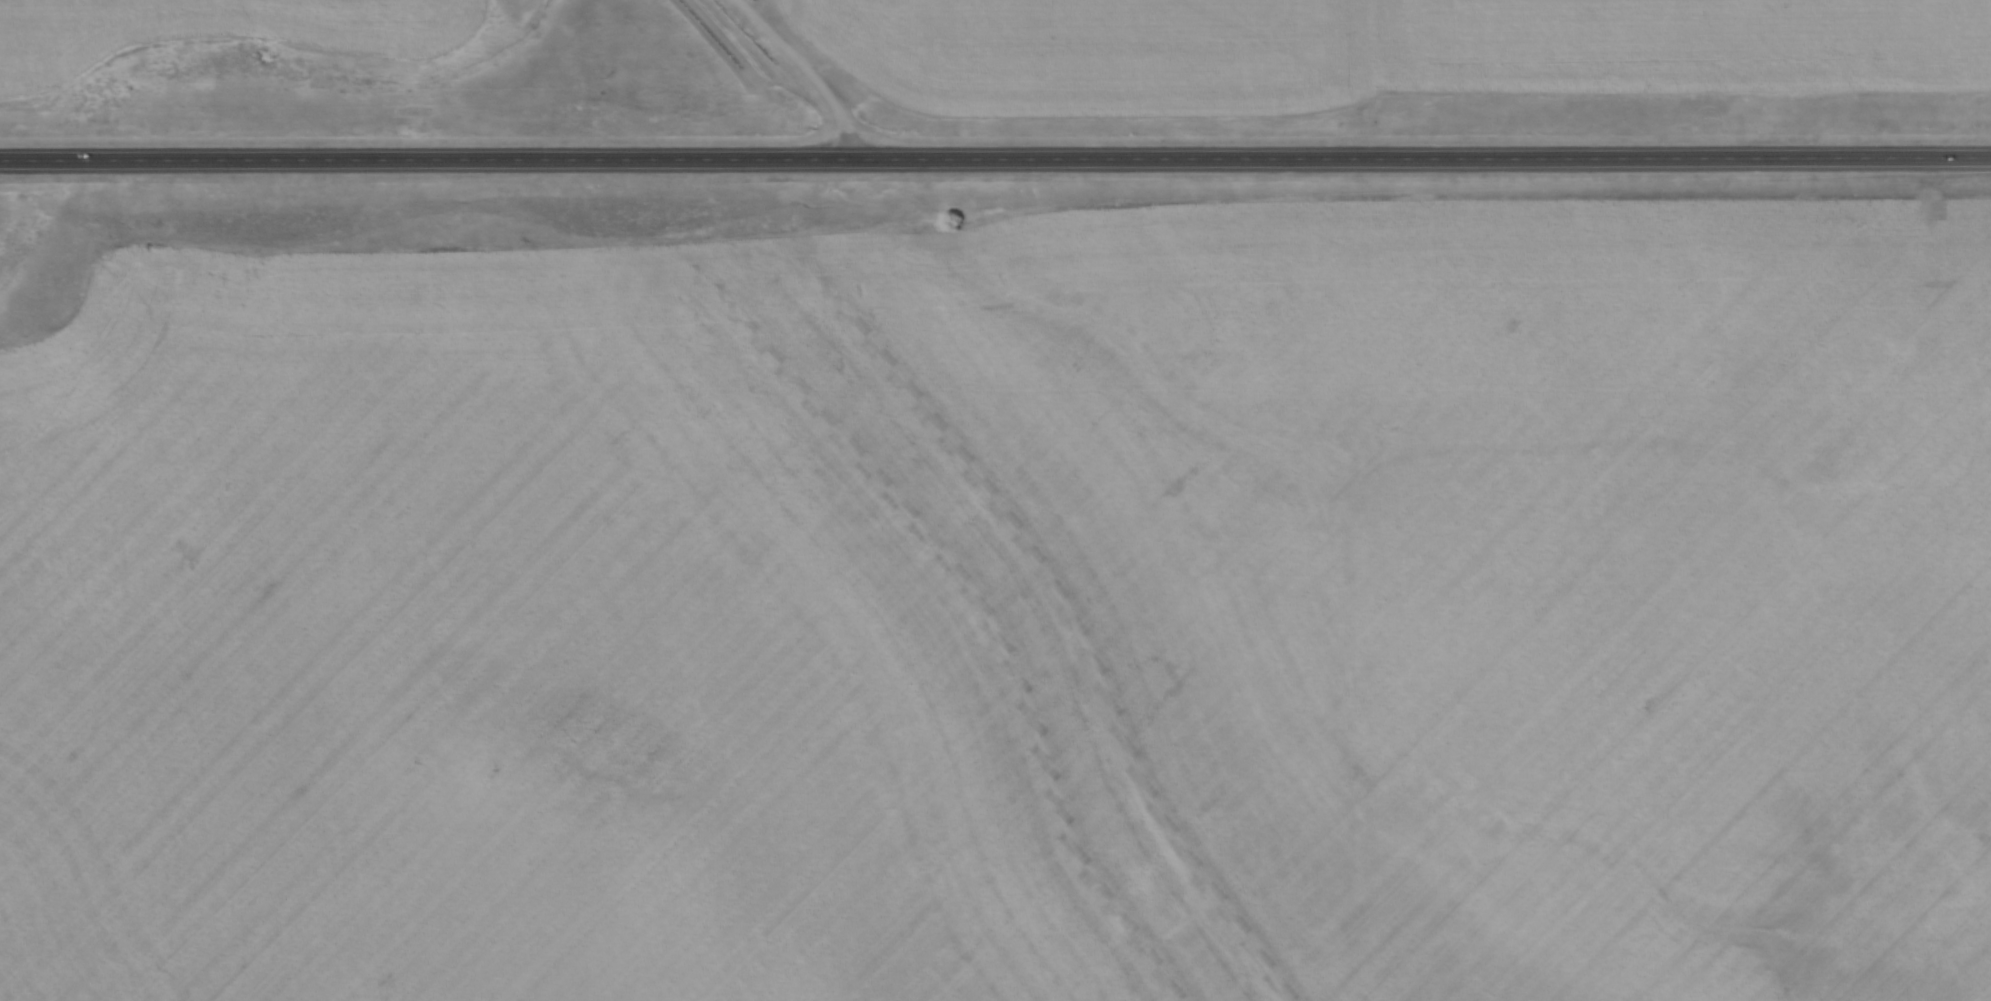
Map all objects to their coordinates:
road: (810, 70)
road: (995, 159)

